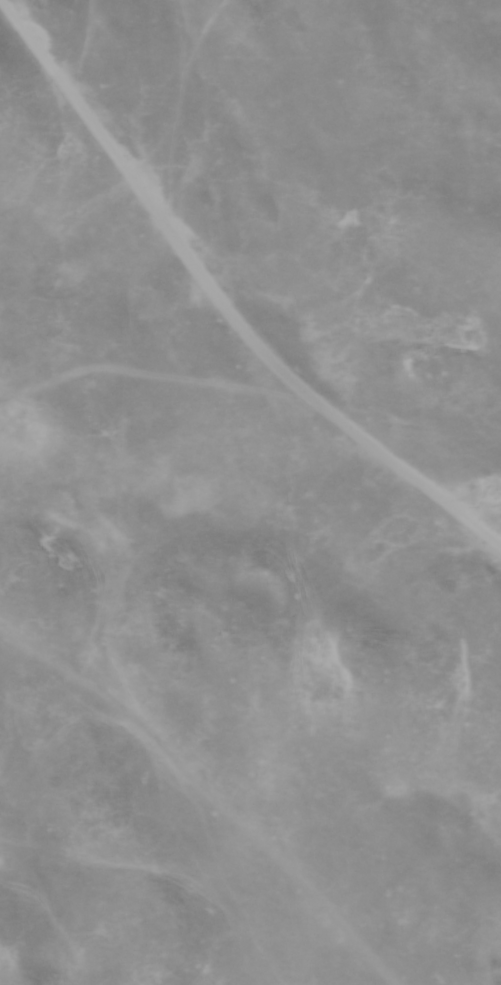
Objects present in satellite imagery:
road: (220, 300)

